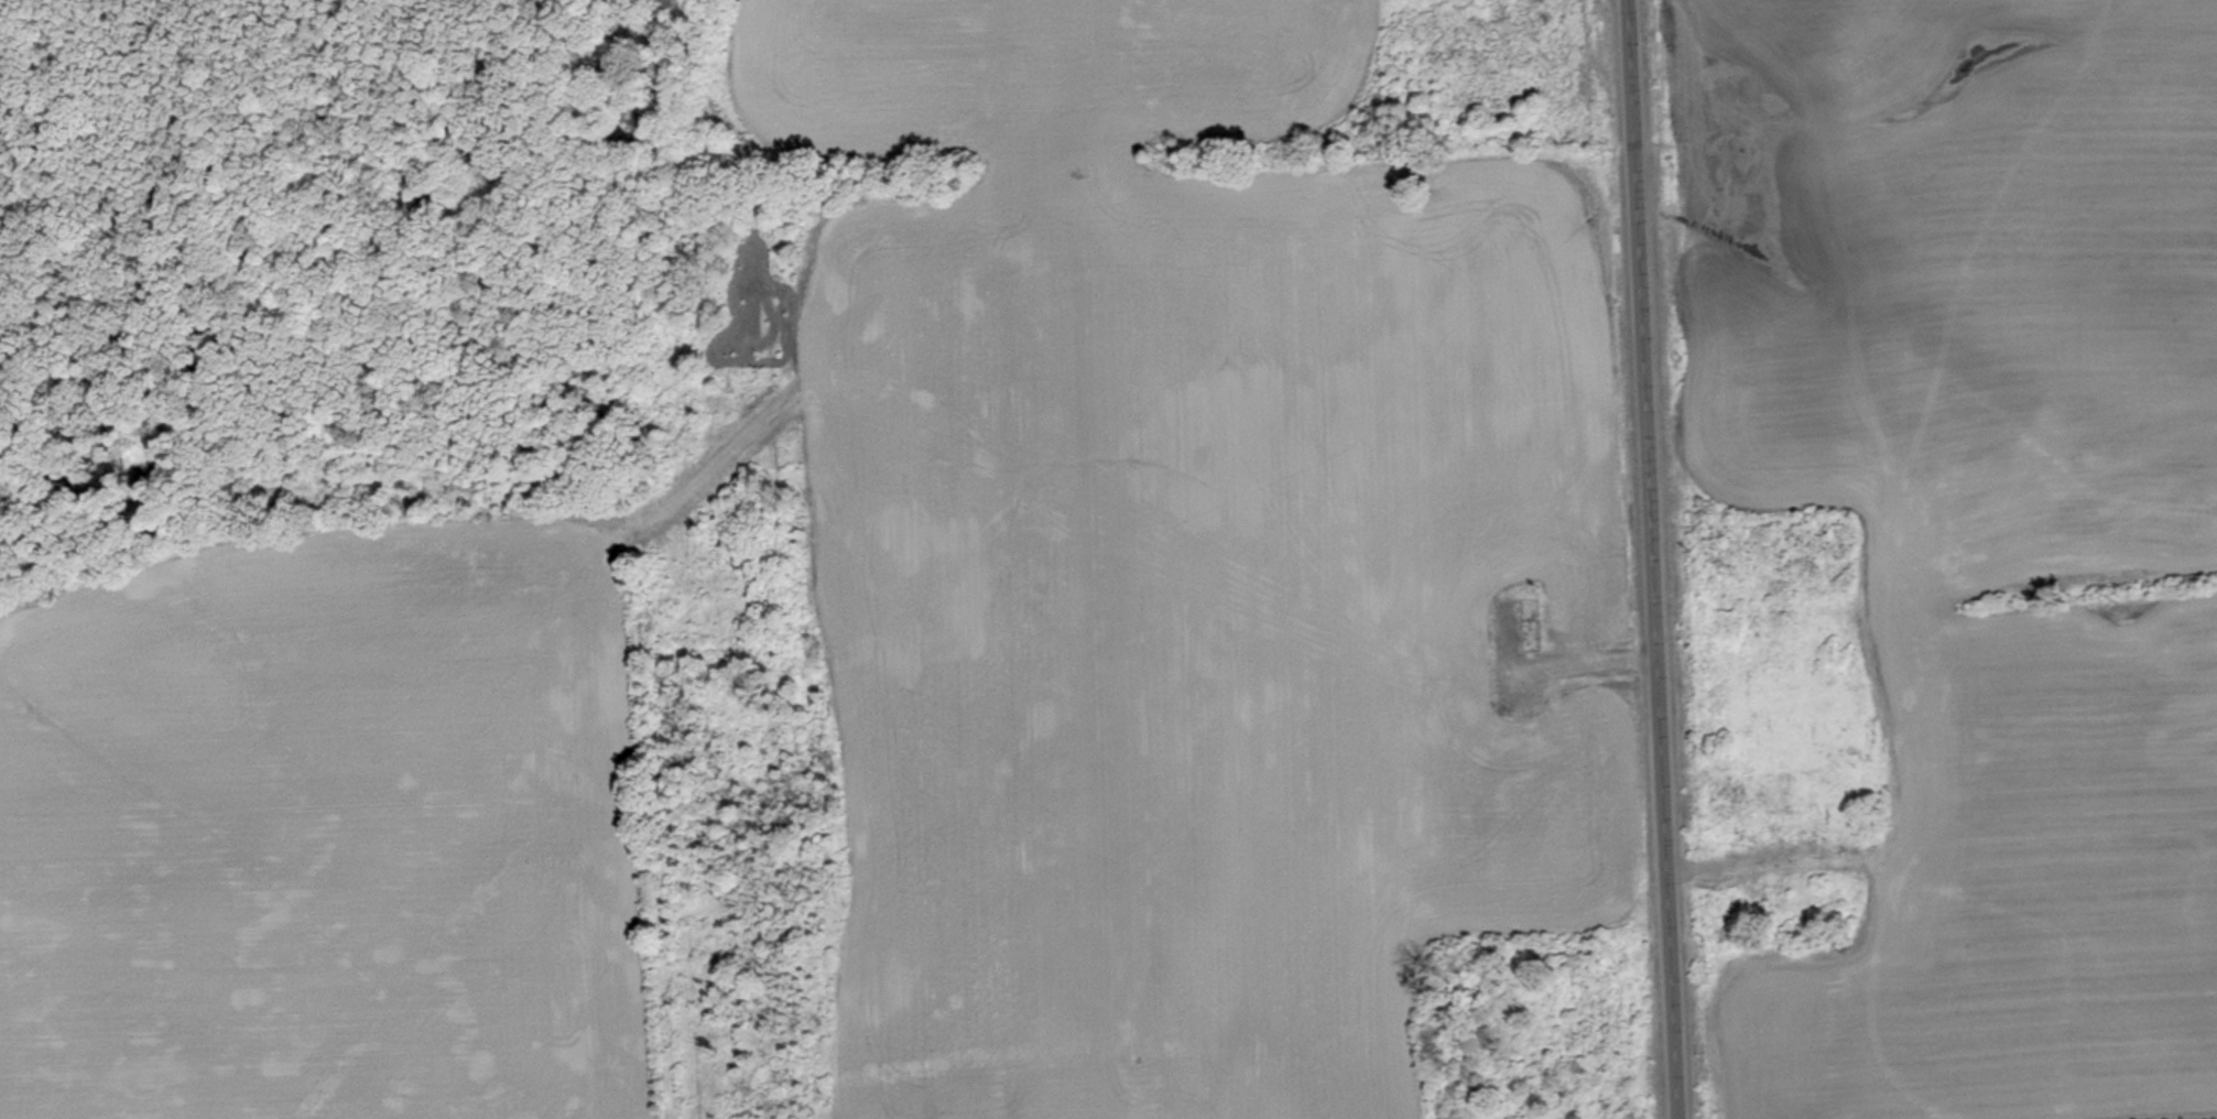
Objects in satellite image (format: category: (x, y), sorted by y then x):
road: (1650, 559)

